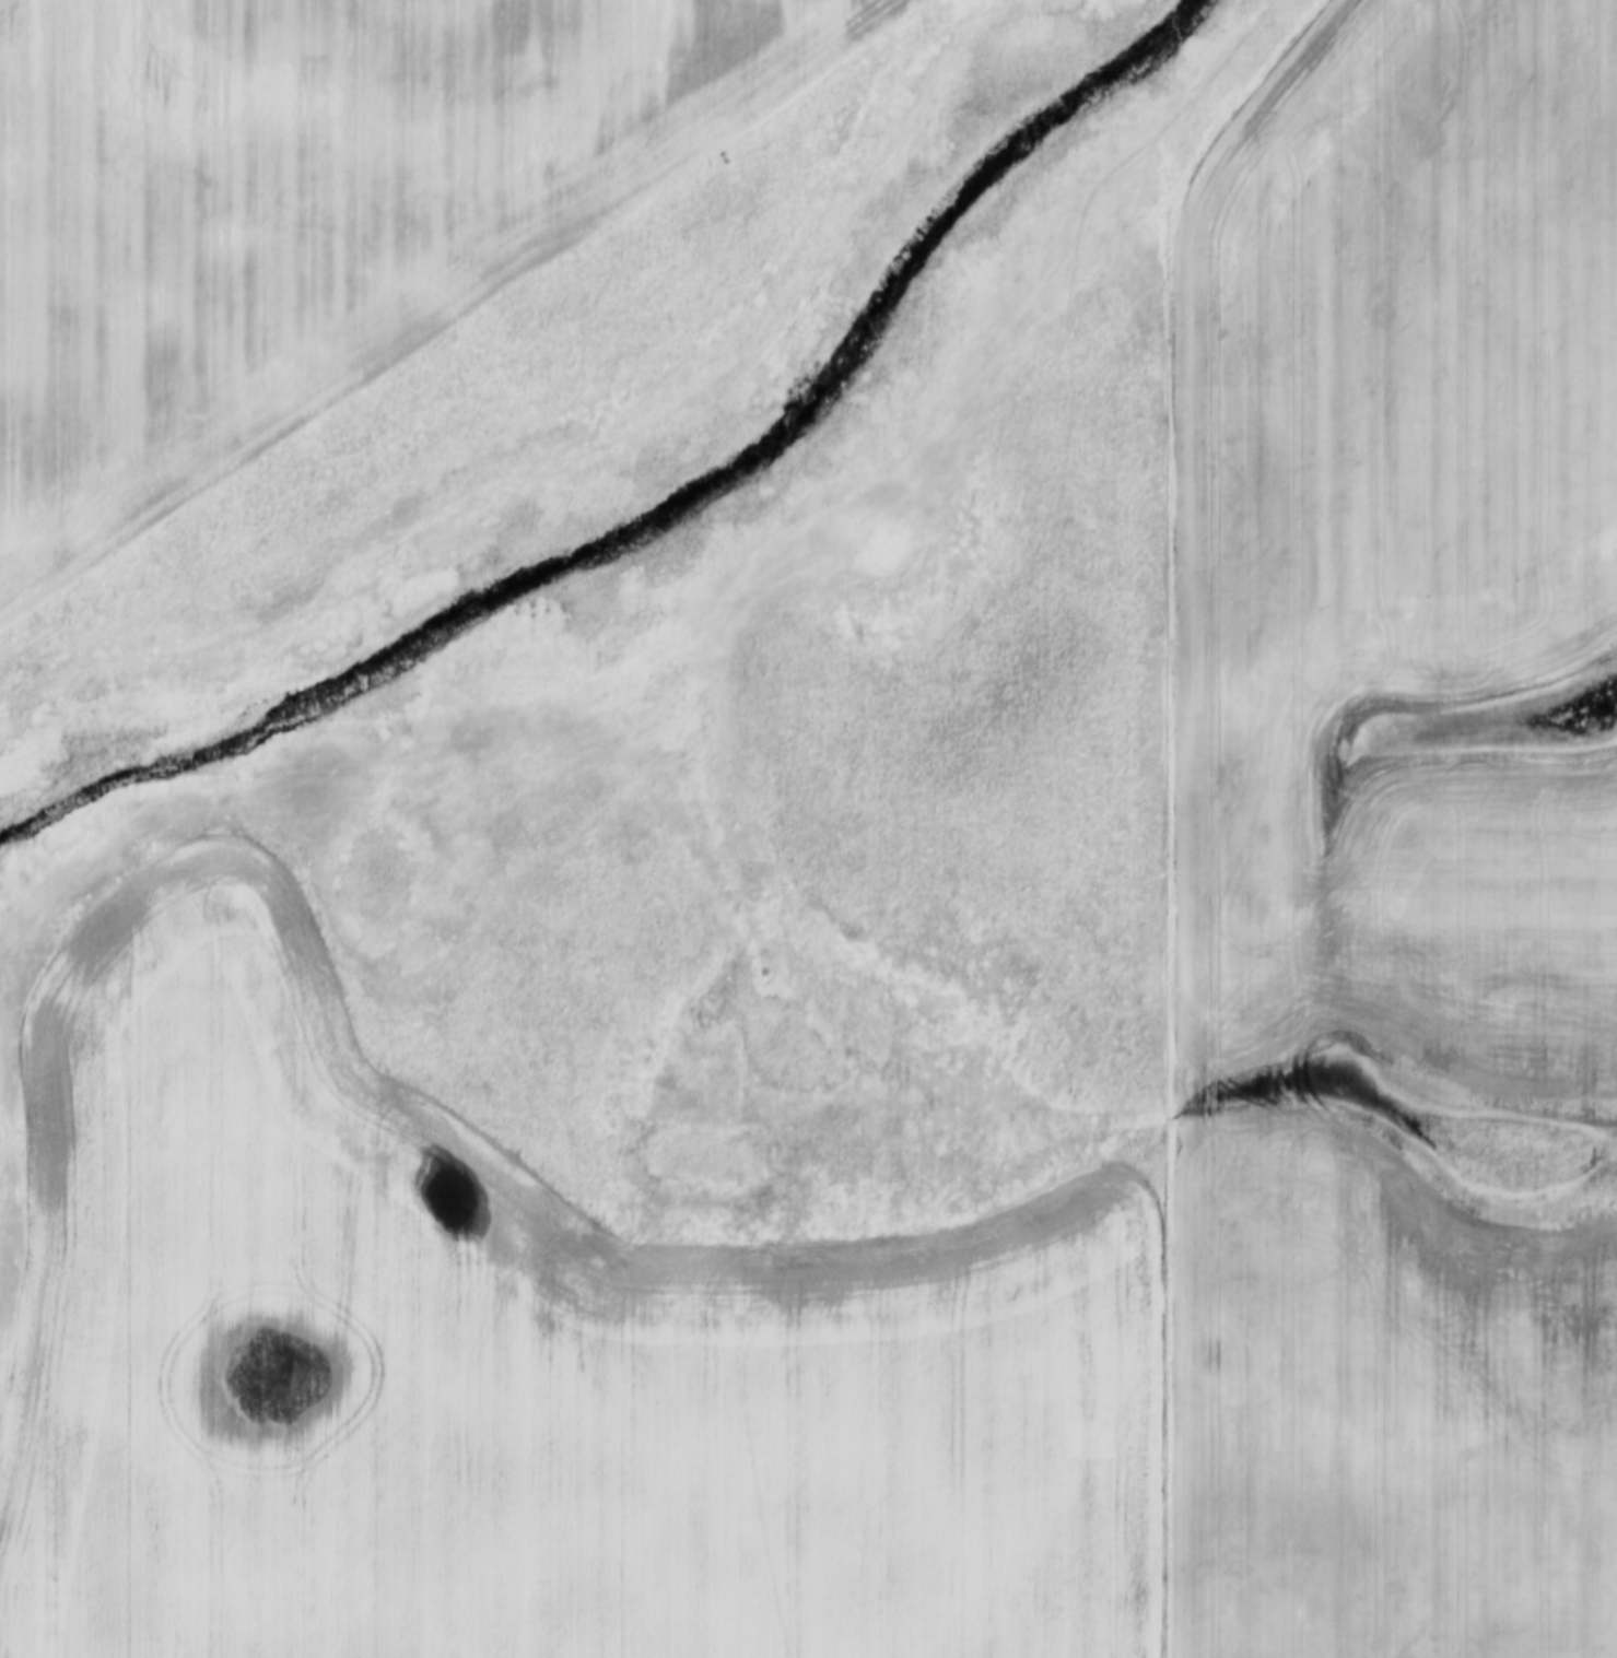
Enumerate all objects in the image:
road: (34, 1248)

